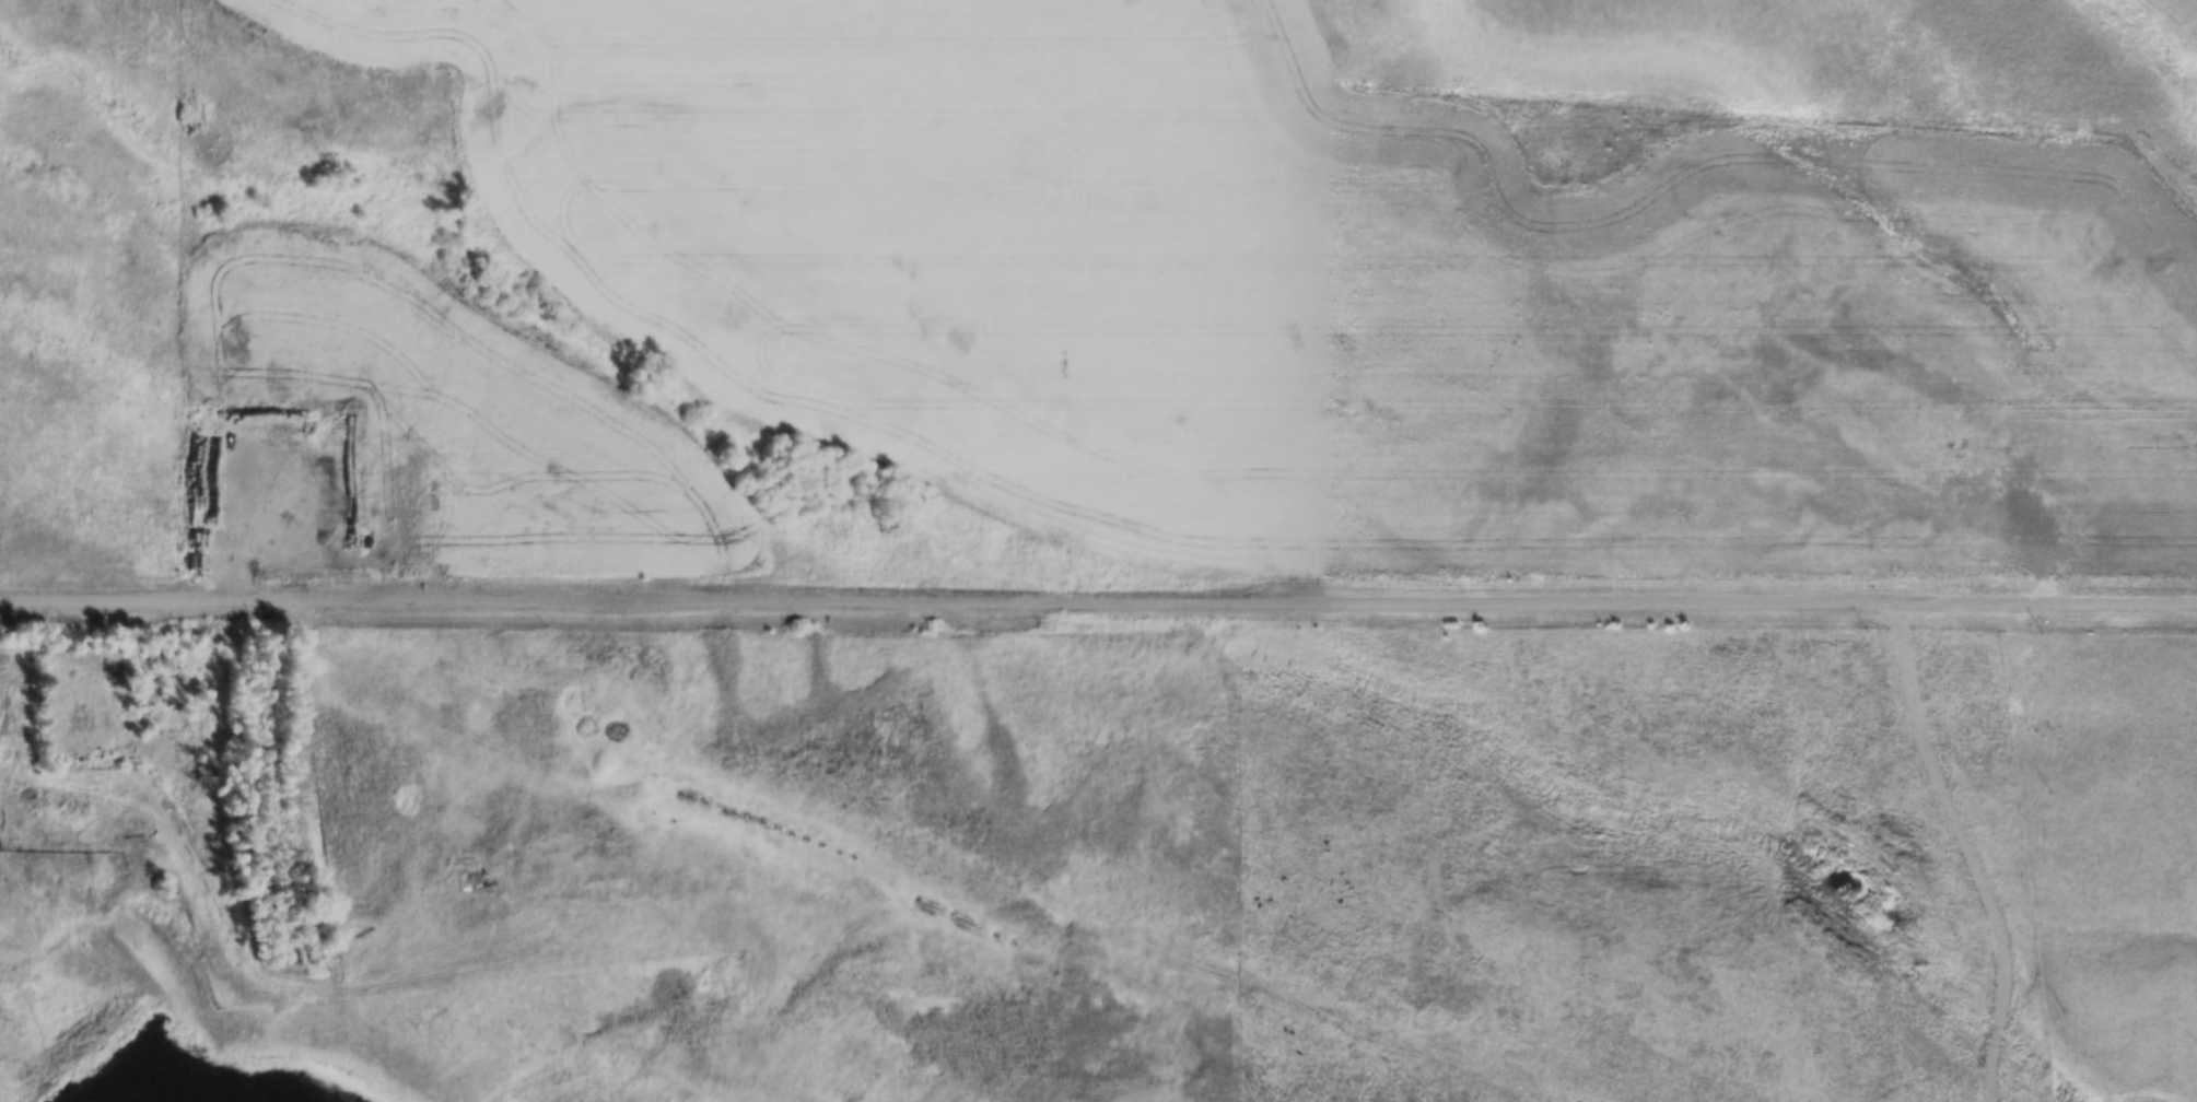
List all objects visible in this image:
building: (311, 538)
road: (1098, 606)
building: (308, 703)
building: (75, 730)
building: (78, 836)

